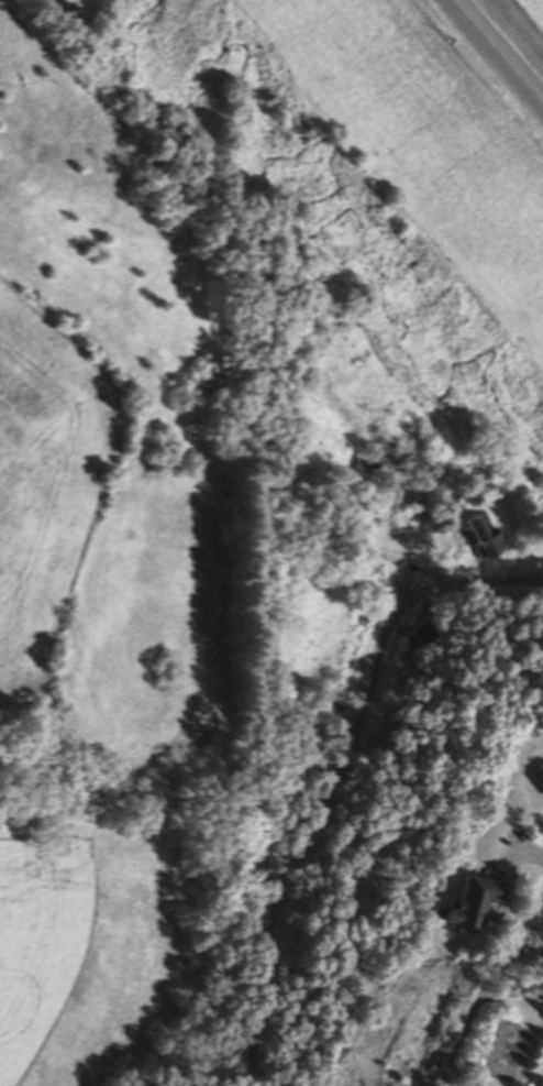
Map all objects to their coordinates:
road: (499, 51)
building: (484, 535)
building: (313, 616)
building: (424, 630)
road: (332, 768)
building: (541, 774)
building: (476, 897)
road: (485, 985)

